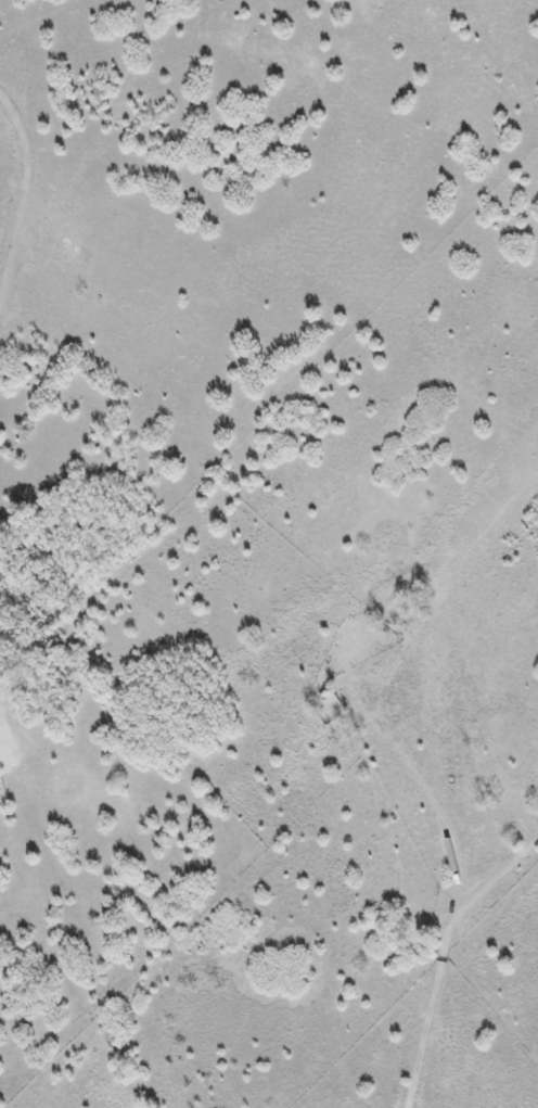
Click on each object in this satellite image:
road: (452, 883)

